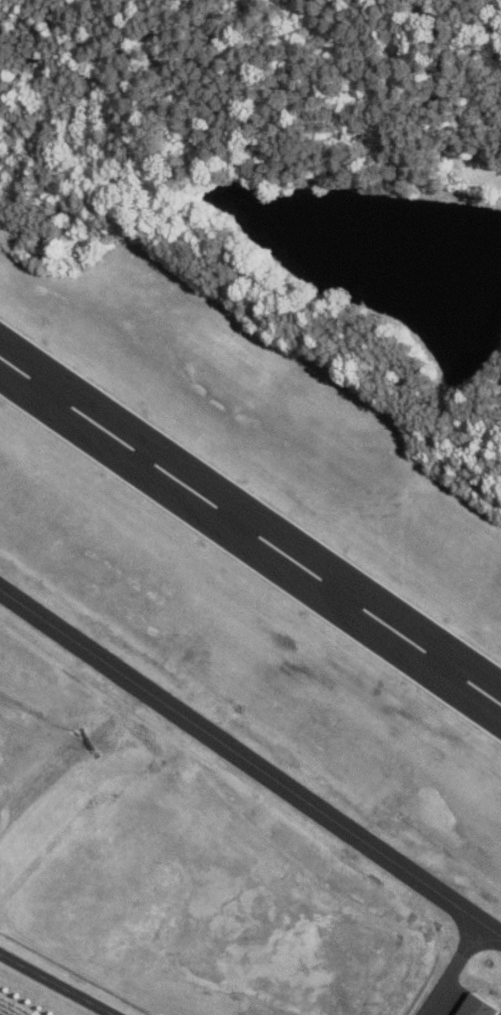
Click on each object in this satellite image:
airport runway: (250, 529)
airport taxiway: (250, 760)
airport taxiway: (470, 923)
airport taxiway: (454, 964)
road: (56, 984)
building: (476, 1006)

